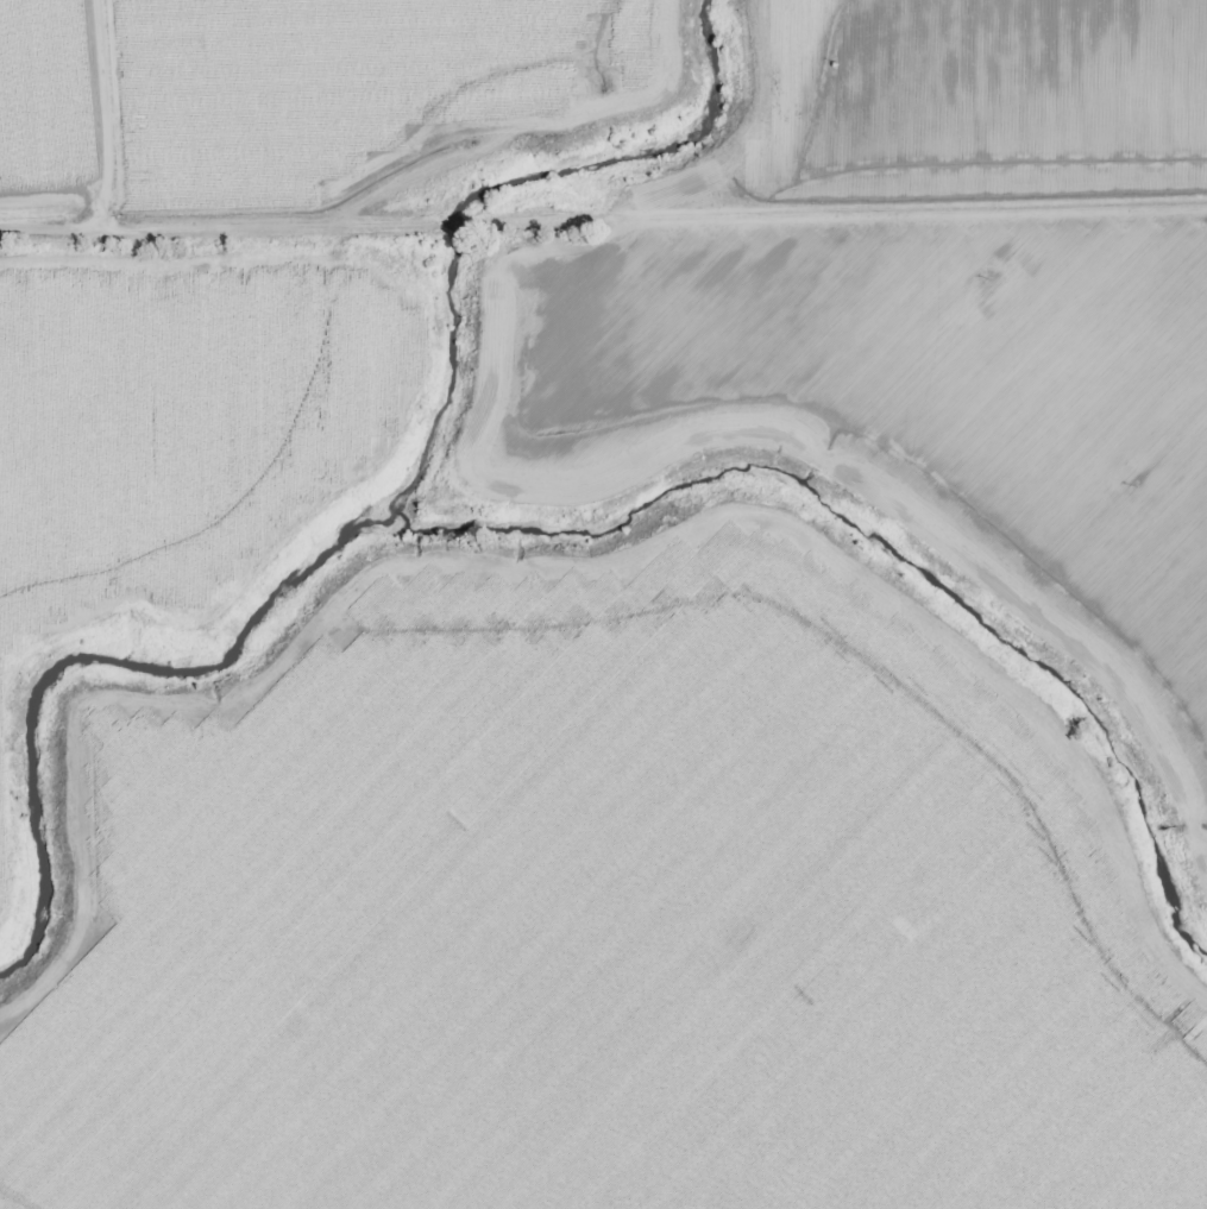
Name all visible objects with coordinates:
road: (233, 219)

